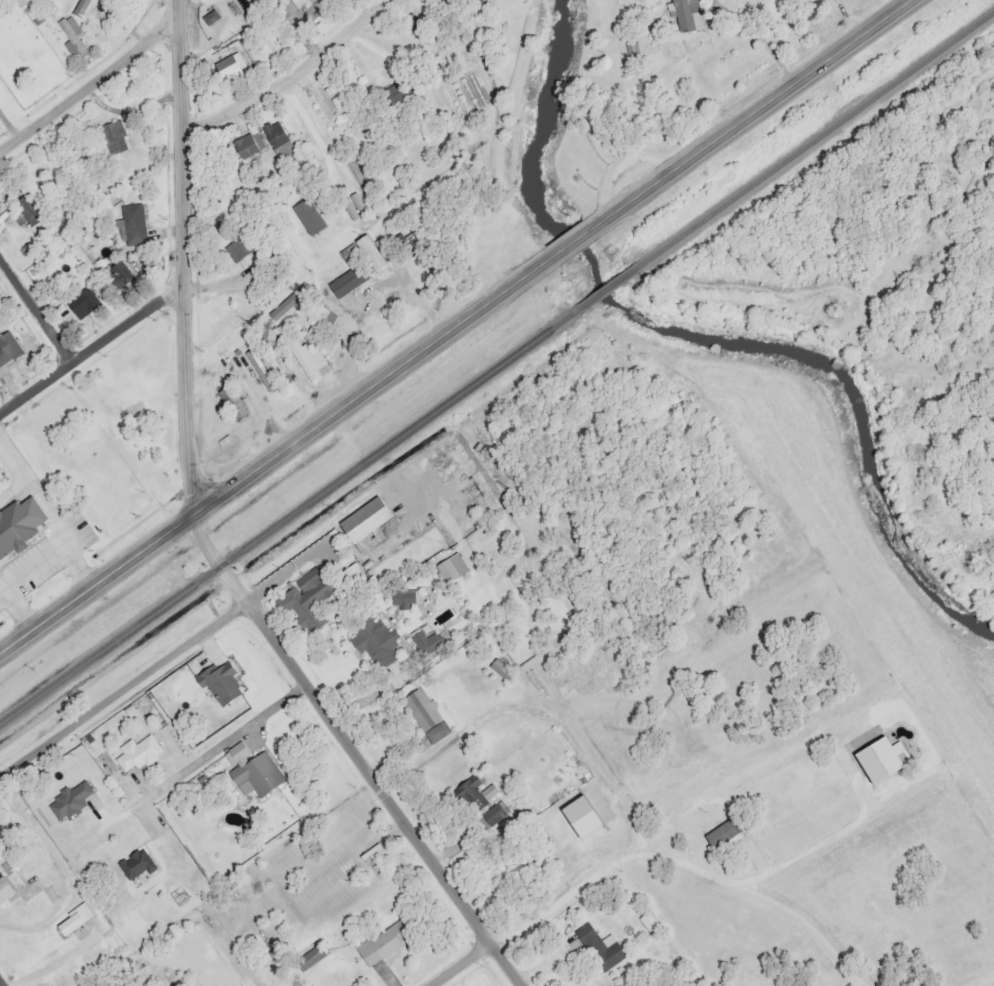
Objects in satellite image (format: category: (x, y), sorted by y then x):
building: (318, 3)
building: (78, 11)
building: (687, 14)
building: (209, 15)
building: (630, 47)
building: (229, 68)
road: (292, 74)
road: (88, 82)
road: (739, 124)
building: (113, 136)
railway: (814, 136)
road: (309, 137)
building: (278, 140)
building: (246, 143)
building: (26, 208)
building: (132, 223)
building: (238, 246)
building: (346, 251)
building: (370, 252)
road: (180, 259)
building: (118, 273)
railway: (605, 286)
building: (81, 301)
building: (283, 306)
road: (34, 307)
building: (318, 321)
building: (268, 337)
road: (88, 345)
building: (7, 347)
building: (252, 363)
building: (294, 371)
building: (231, 401)
road: (282, 450)
railway: (288, 515)
building: (18, 523)
building: (365, 523)
building: (351, 572)
building: (301, 602)
building: (373, 642)
building: (424, 642)
building: (500, 669)
building: (219, 683)
road: (122, 688)
building: (424, 714)
road: (356, 752)
building: (135, 753)
road: (210, 756)
building: (878, 759)
building: (256, 773)
building: (473, 793)
building: (68, 800)
building: (492, 813)
building: (721, 833)
road: (690, 859)
building: (5, 888)
building: (71, 921)
building: (648, 921)
building: (381, 941)
building: (598, 947)
building: (308, 955)
road: (462, 962)
road: (249, 965)
road: (3, 981)

